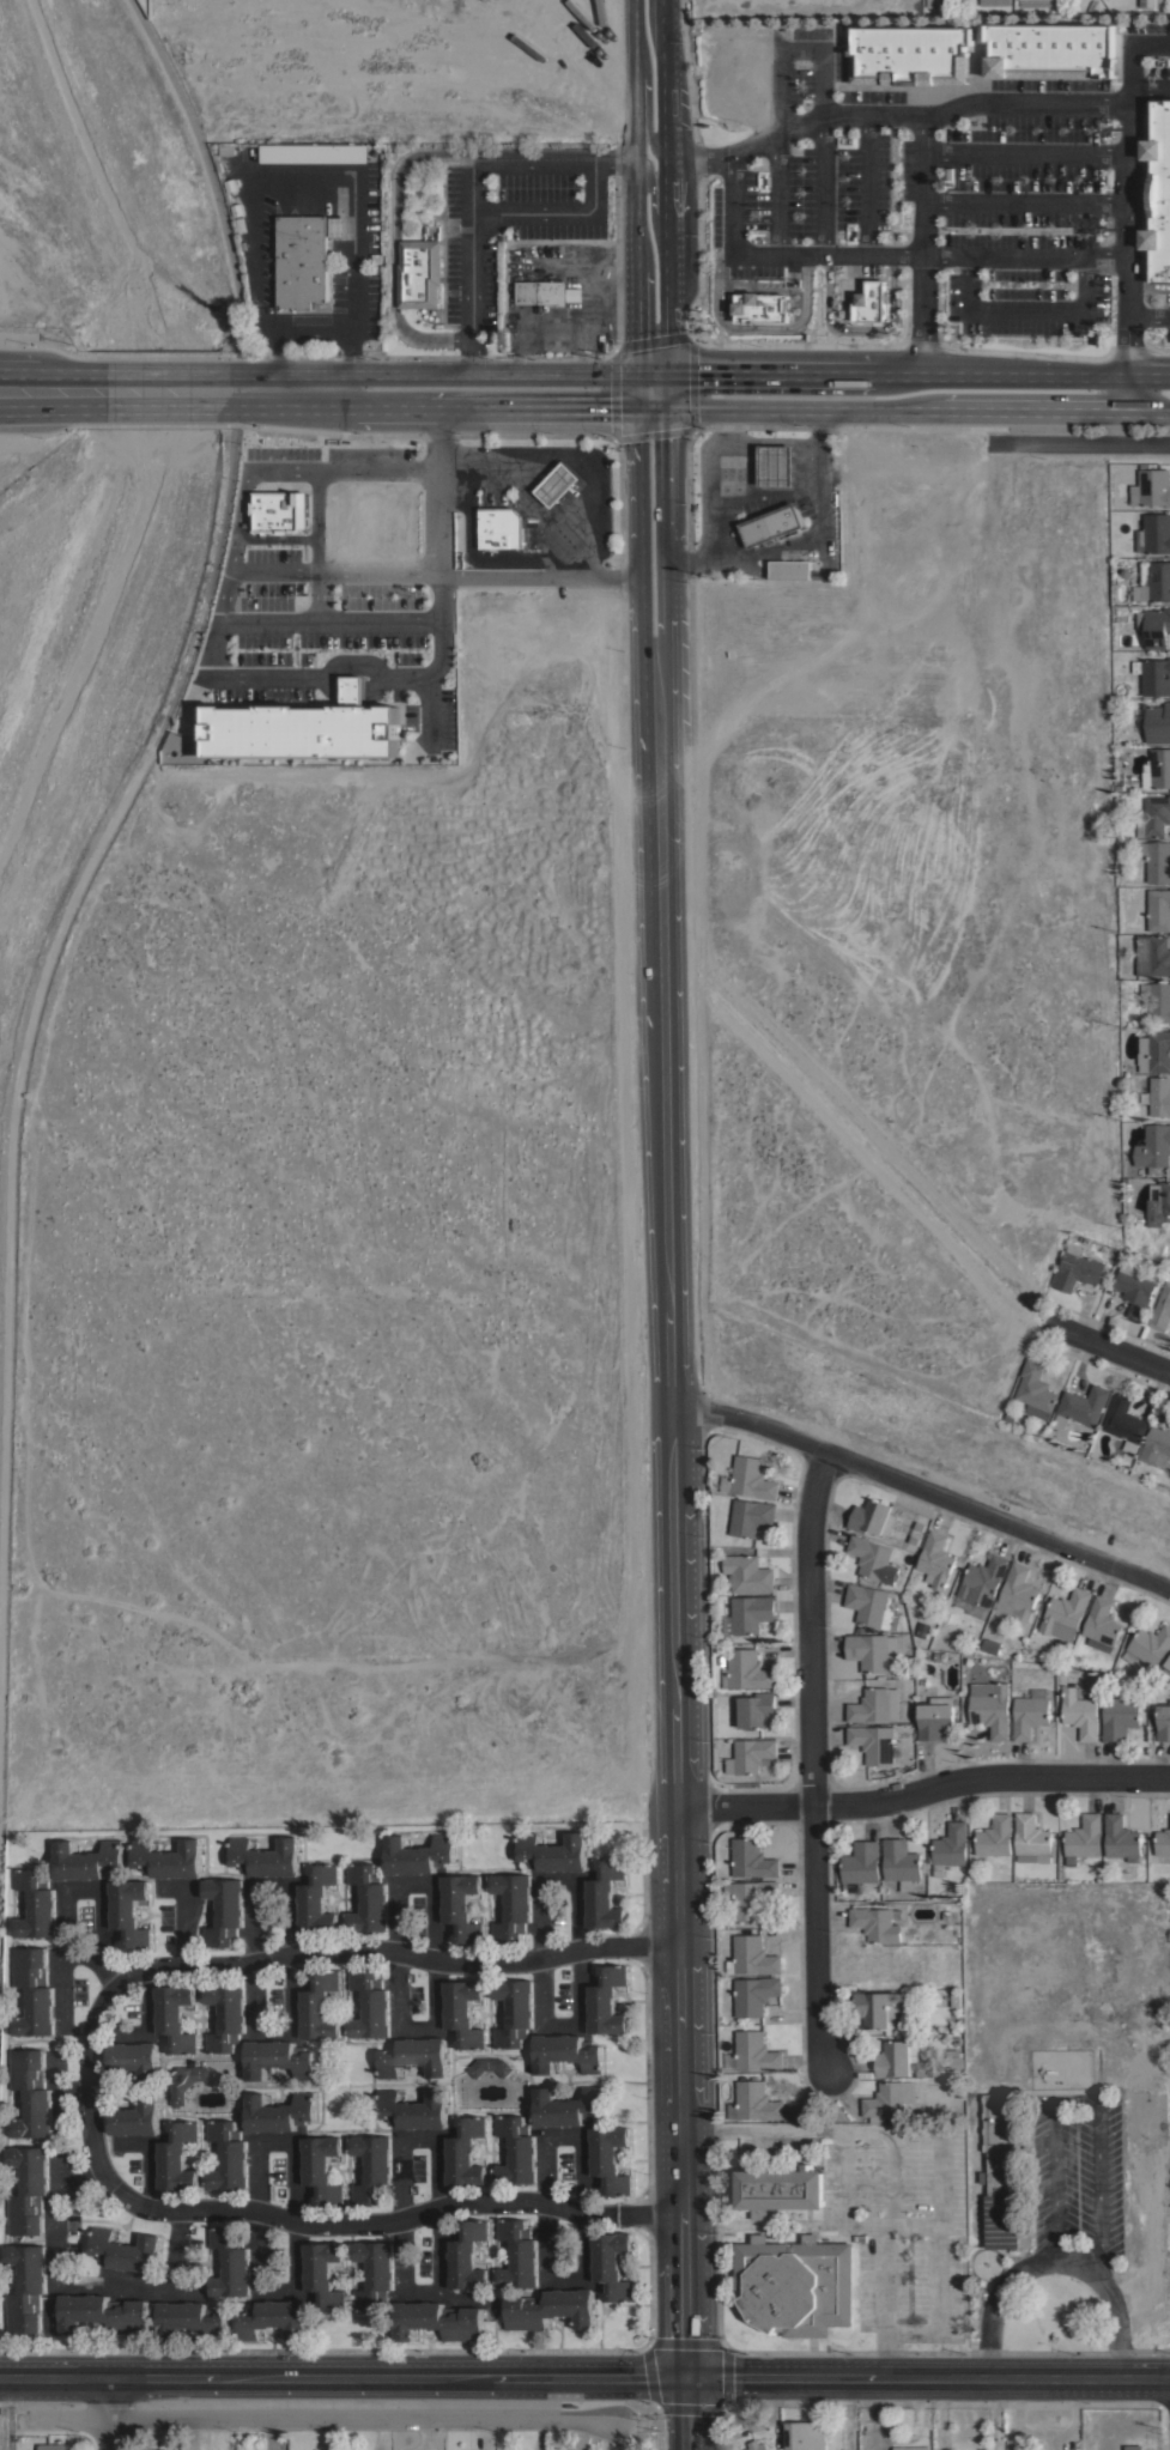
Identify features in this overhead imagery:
building: (993, 1)
building: (933, 2)
building: (1036, 2)
building: (1147, 2)
building: (1051, 49)
building: (910, 54)
road: (1150, 89)
road: (901, 115)
road: (801, 122)
building: (314, 152)
road: (1023, 154)
road: (630, 157)
road: (508, 164)
road: (207, 166)
road: (1124, 169)
road: (398, 181)
road: (823, 183)
road: (866, 183)
road: (922, 183)
parking lot: (944, 189)
road: (777, 192)
building: (1157, 192)
road: (656, 193)
road: (1024, 201)
road: (496, 214)
parking lot: (509, 223)
building: (340, 226)
road: (741, 251)
road: (1024, 251)
building: (299, 262)
building: (419, 272)
building: (544, 290)
building: (871, 302)
building: (762, 308)
road: (1025, 310)
road: (919, 313)
road: (1148, 314)
road: (757, 327)
road: (859, 328)
road: (1128, 330)
road: (655, 339)
road: (471, 365)
road: (800, 371)
road: (1042, 376)
traffic signals: (654, 387)
road: (673, 387)
road: (545, 389)
road: (40, 392)
road: (154, 392)
road: (333, 392)
road: (800, 408)
road: (1043, 411)
road: (647, 431)
road: (1080, 443)
building: (775, 465)
road: (289, 472)
road: (659, 480)
road: (438, 483)
building: (554, 483)
gas station: (557, 484)
road: (316, 487)
building: (1152, 487)
building: (277, 509)
road: (237, 520)
building: (771, 524)
building: (501, 527)
building: (459, 530)
building: (1153, 533)
road: (308, 569)
building: (789, 569)
road: (551, 575)
building: (1153, 581)
building: (1153, 625)
parking lot: (337, 665)
building: (1153, 675)
road: (222, 685)
building: (1158, 723)
building: (301, 730)
building: (1157, 769)
building: (1116, 787)
building: (1153, 817)
building: (1158, 862)
building: (1158, 910)
building: (1152, 954)
road: (36, 991)
building: (1159, 1001)
building: (1154, 1051)
building: (1154, 1093)
building: (1153, 1146)
building: (1158, 1203)
building: (1075, 1268)
building: (1133, 1288)
building: (1160, 1309)
road: (1113, 1348)
building: (1035, 1390)
building: (1081, 1406)
building: (1008, 1415)
building: (1122, 1421)
building: (1156, 1447)
road: (669, 1476)
building: (751, 1478)
road: (920, 1490)
building: (750, 1516)
building: (872, 1517)
building: (916, 1533)
building: (873, 1559)
building: (935, 1559)
building: (747, 1573)
building: (983, 1581)
building: (1017, 1593)
building: (872, 1605)
building: (747, 1614)
building: (1065, 1614)
building: (945, 1615)
building: (1101, 1625)
building: (922, 1629)
building: (990, 1645)
building: (1148, 1645)
building: (873, 1651)
building: (935, 1656)
building: (1166, 1664)
building: (746, 1669)
building: (874, 1704)
building: (990, 1708)
building: (757, 1709)
building: (1080, 1712)
building: (1029, 1715)
building: (1120, 1716)
building: (935, 1717)
building: (1163, 1722)
building: (874, 1742)
building: (751, 1754)
road: (811, 1763)
road: (922, 1790)
building: (995, 1836)
building: (1032, 1837)
building: (1121, 1837)
building: (1083, 1838)
building: (1163, 1842)
building: (950, 1846)
building: (553, 1851)
building: (418, 1854)
building: (265, 1856)
building: (168, 1858)
building: (751, 1858)
building: (86, 1860)
building: (861, 1862)
building: (901, 1862)
road: (552, 1881)
road: (414, 1882)
road: (263, 1887)
building: (605, 1894)
building: (750, 1897)
building: (368, 1898)
building: (316, 1899)
road: (62, 1902)
building: (37, 1904)
building: (513, 1905)
building: (461, 1906)
building: (224, 1910)
building: (129, 1911)
building: (946, 1914)
building: (877, 1923)
road: (182, 1930)
road: (309, 1951)
building: (752, 1955)
road: (83, 1957)
building: (35, 1991)
building: (753, 1994)
building: (954, 1997)
building: (606, 2000)
building: (370, 2003)
building: (319, 2005)
building: (878, 2009)
road: (145, 2011)
building: (462, 2012)
building: (514, 2012)
building: (226, 2015)
building: (175, 2017)
road: (563, 2025)
road: (412, 2026)
road: (275, 2031)
building: (956, 2038)
building: (754, 2051)
building: (565, 2052)
building: (412, 2056)
building: (896, 2057)
building: (134, 2058)
building: (277, 2058)
building: (953, 2058)
building: (489, 2066)
building: (928, 2067)
building: (184, 2080)
building: (32, 2093)
building: (756, 2100)
building: (884, 2100)
building: (566, 2106)
building: (413, 2109)
building: (278, 2112)
building: (135, 2117)
road: (563, 2134)
road: (414, 2136)
road: (278, 2139)
building: (516, 2151)
building: (465, 2152)
building: (177, 2155)
building: (229, 2155)
road: (883, 2155)
road: (147, 2158)
building: (608, 2158)
building: (321, 2167)
building: (372, 2167)
building: (1001, 2172)
building: (778, 2189)
building: (30, 2190)
road: (374, 2221)
building: (125, 2250)
building: (519, 2254)
building: (467, 2255)
road: (1053, 2261)
building: (230, 2262)
building: (611, 2264)
building: (375, 2273)
building: (323, 2274)
building: (795, 2284)
building: (28, 2287)
building: (548, 2309)
building: (103, 2313)
building: (272, 2318)
building: (189, 2319)
building: (437, 2321)
road: (342, 2377)
traffic signals: (686, 2378)
road: (928, 2378)
road: (110, 2413)
road: (686, 2414)
road: (848, 2414)
road: (944, 2414)
road: (1000, 2414)
road: (317, 2419)
building: (805, 2436)
building: (757, 2445)
building: (54, 2446)
building: (1133, 2446)
building: (910, 2448)

